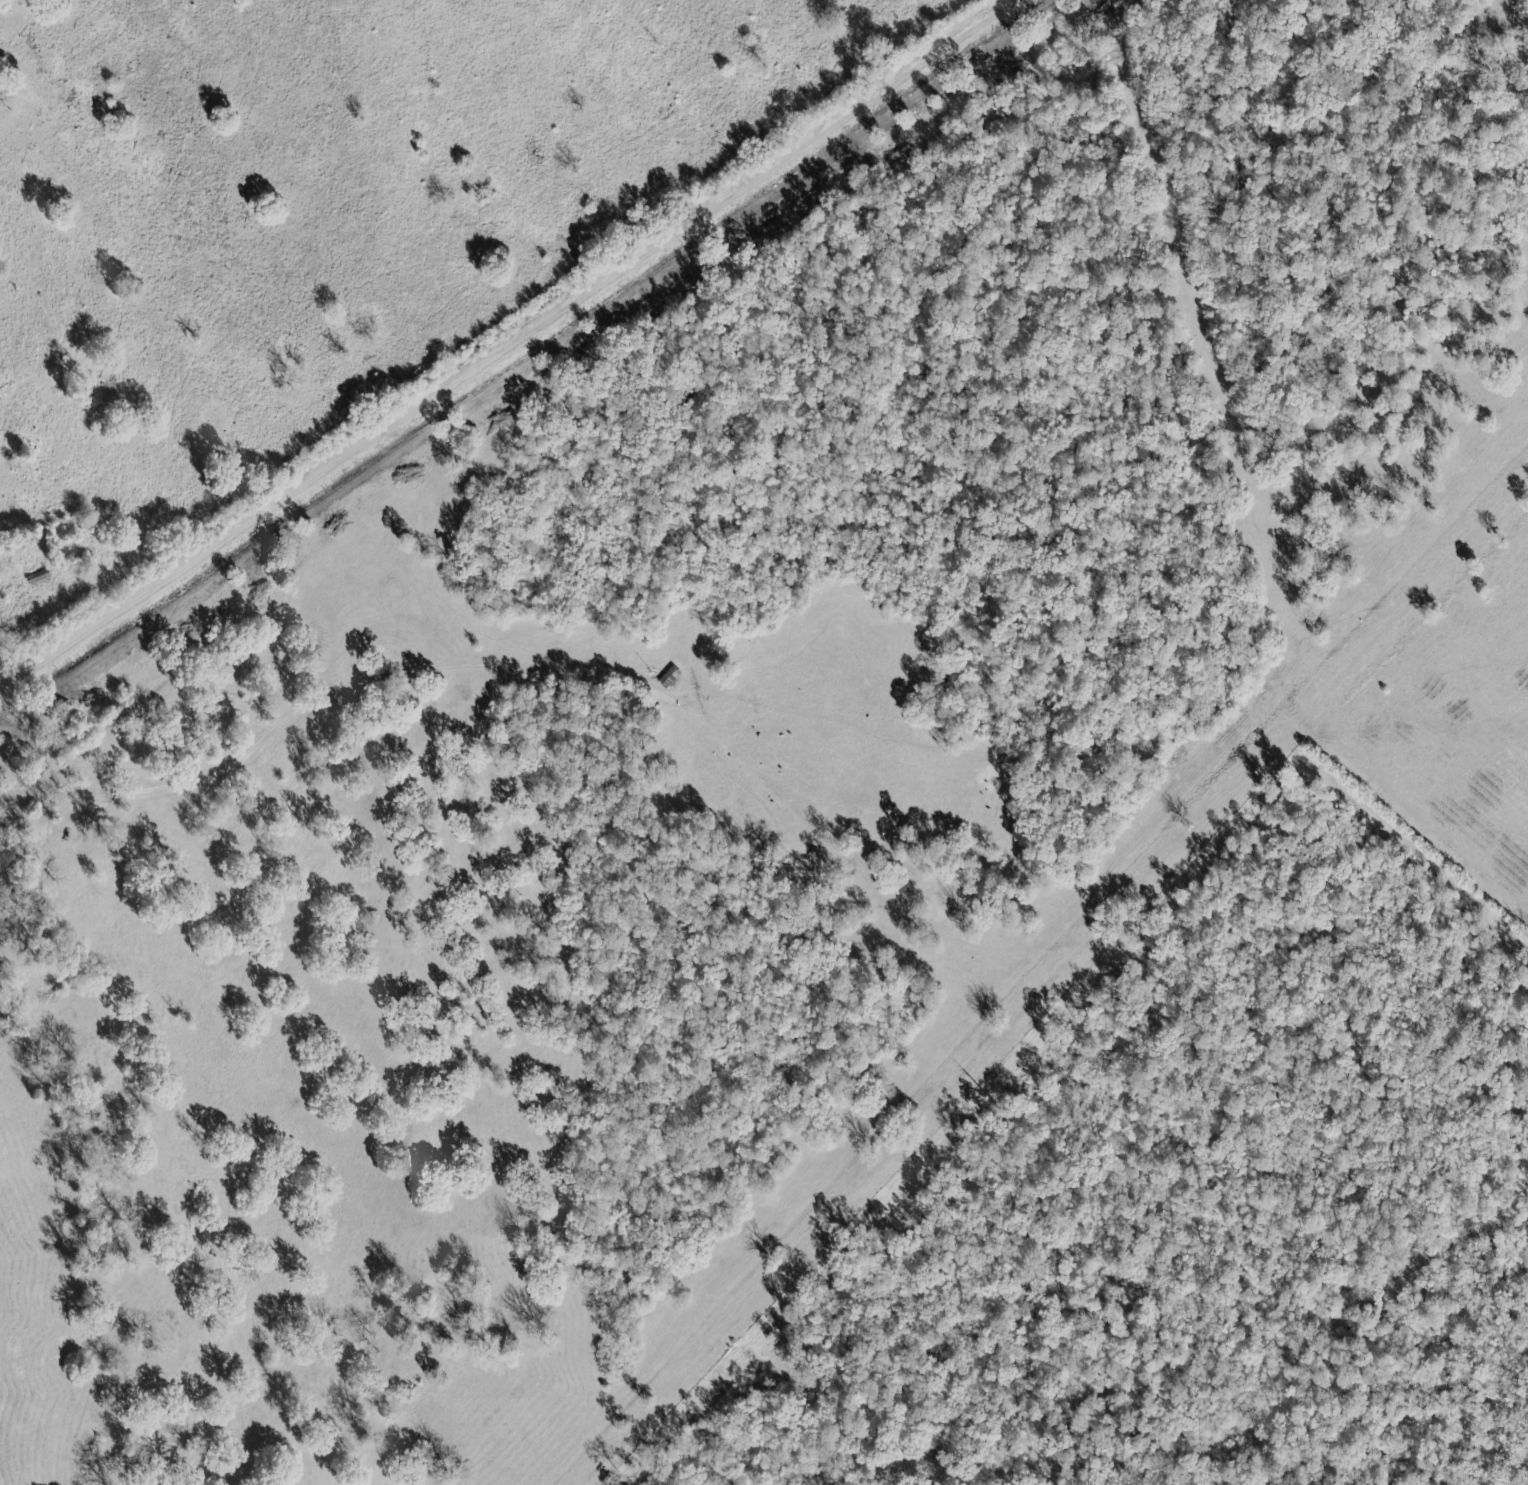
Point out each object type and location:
road: (517, 347)
road: (520, 668)
building: (671, 677)
road: (2, 696)
road: (1043, 992)

